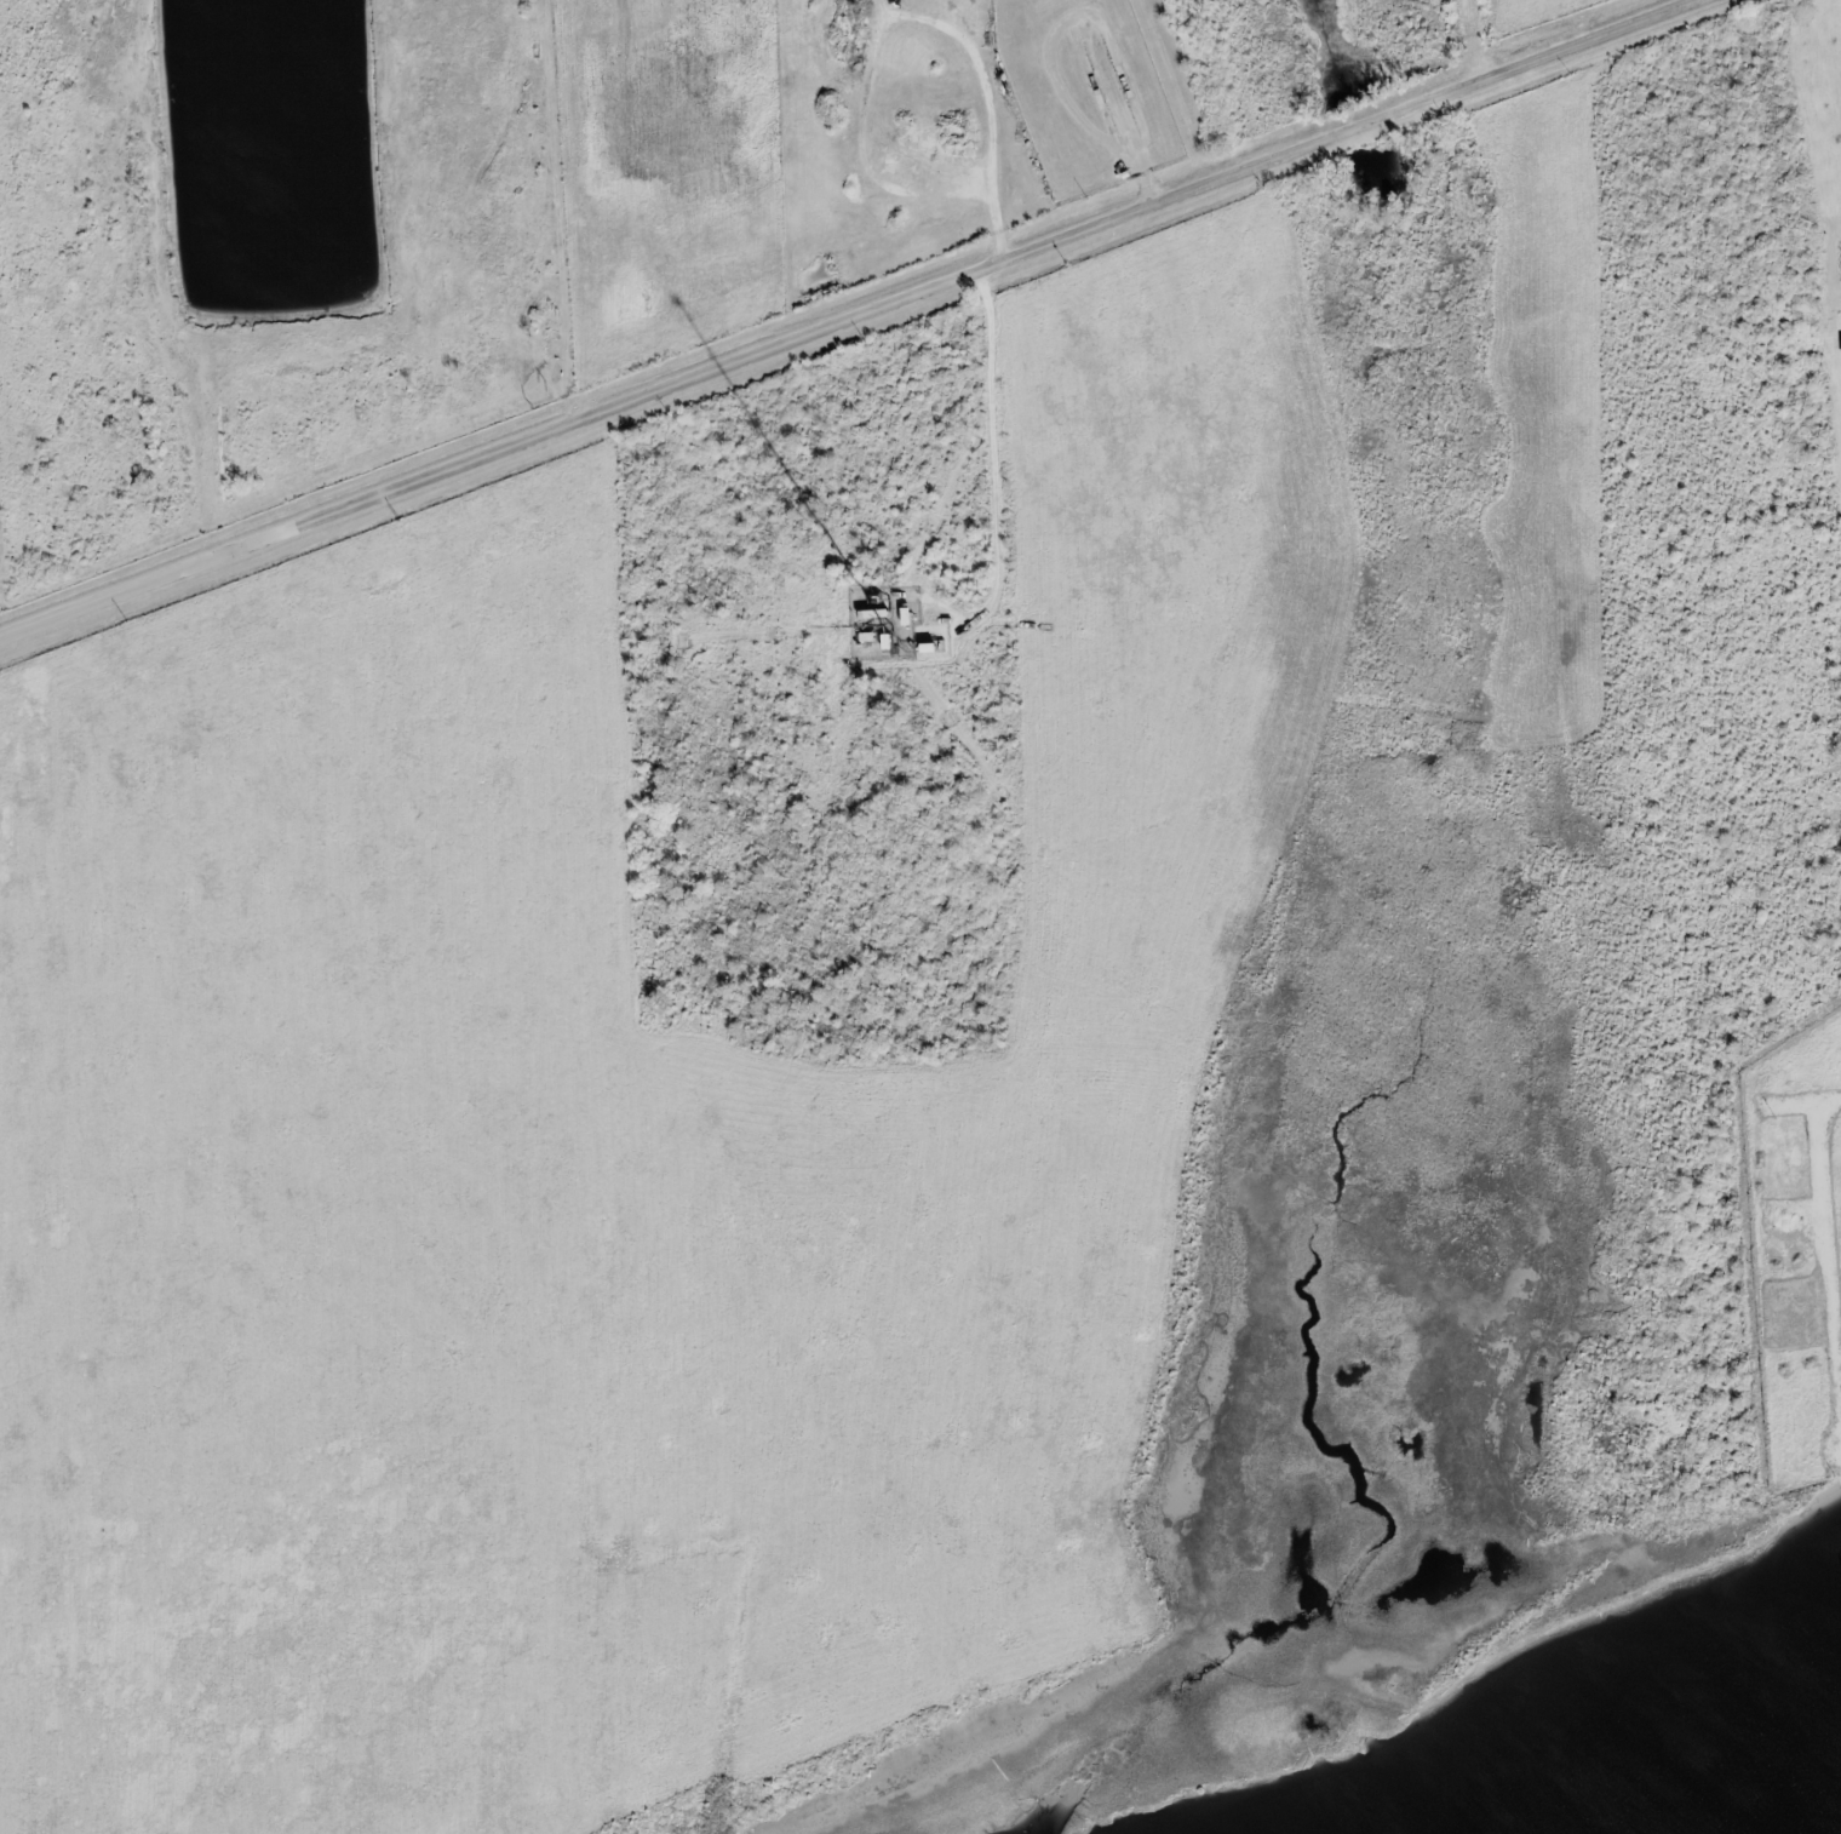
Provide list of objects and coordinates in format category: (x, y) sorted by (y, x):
road: (850, 319)

